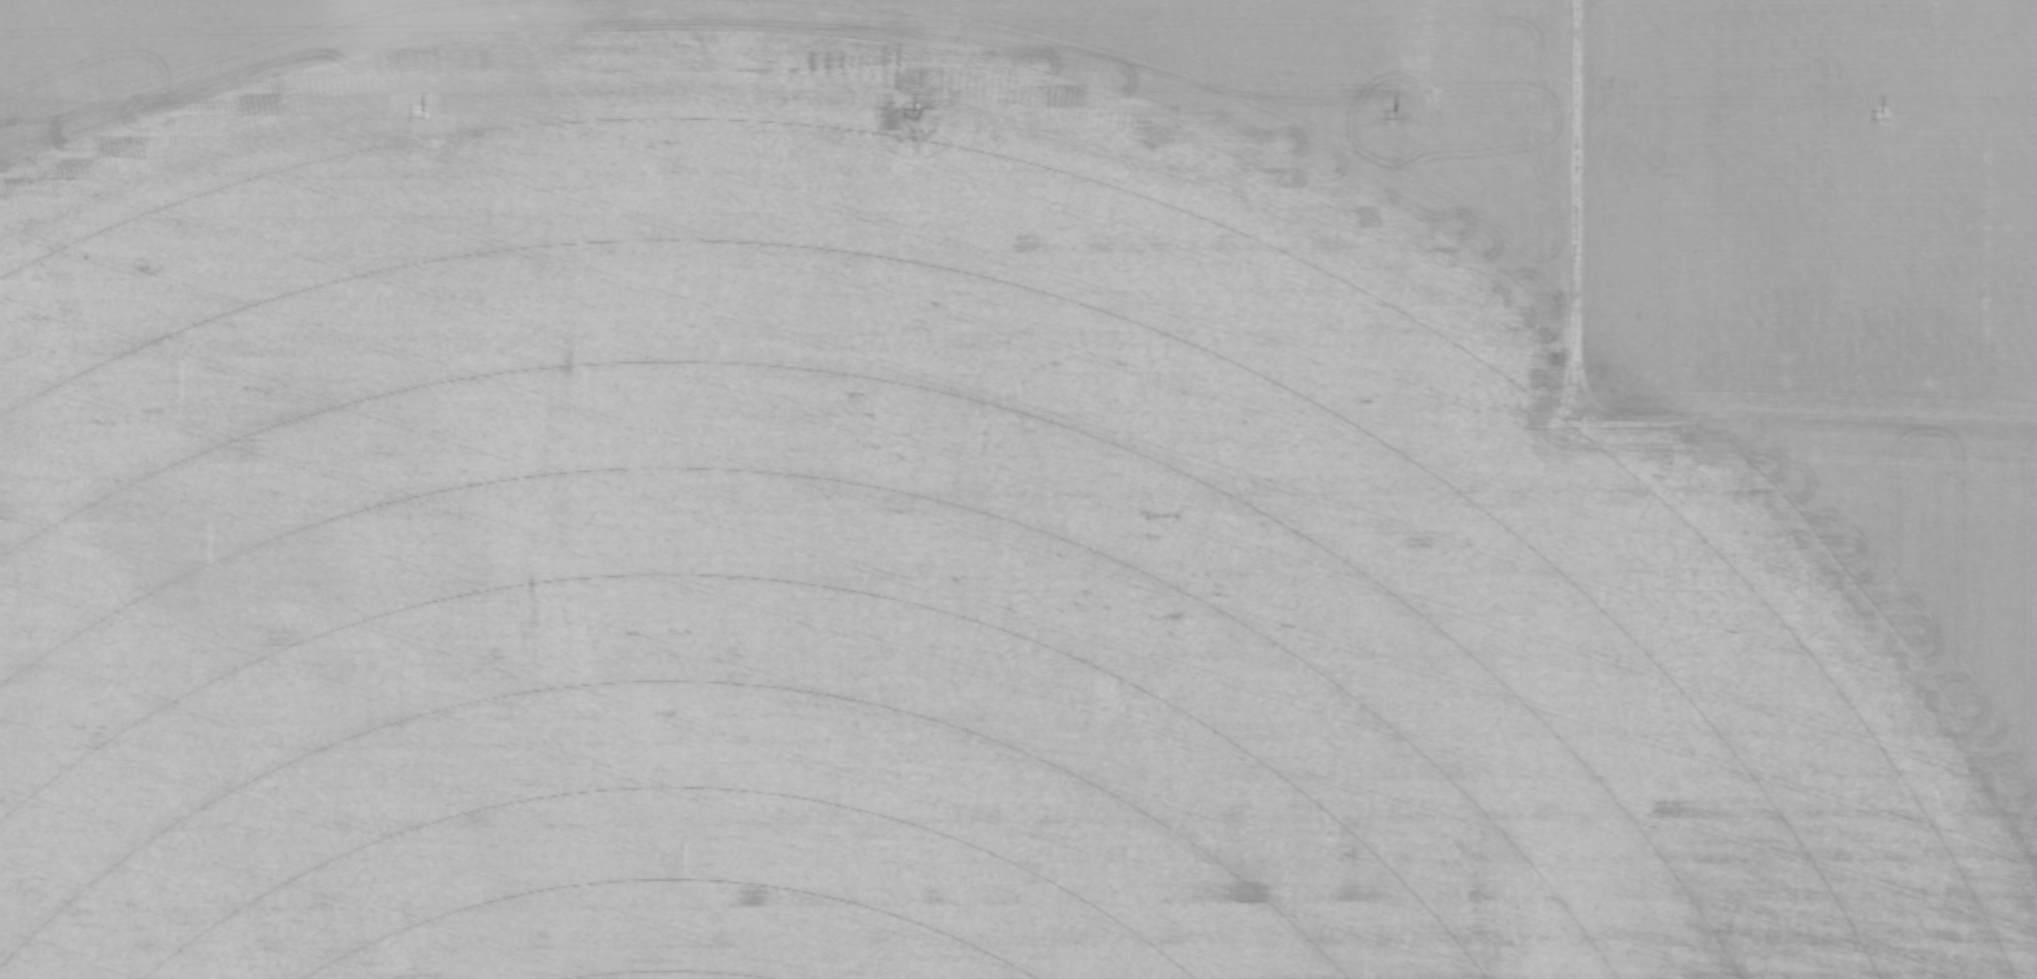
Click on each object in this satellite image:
power tower: (910, 113)
power tower: (421, 114)
power tower: (1395, 116)
power tower: (1880, 116)
crop: (1018, 489)

